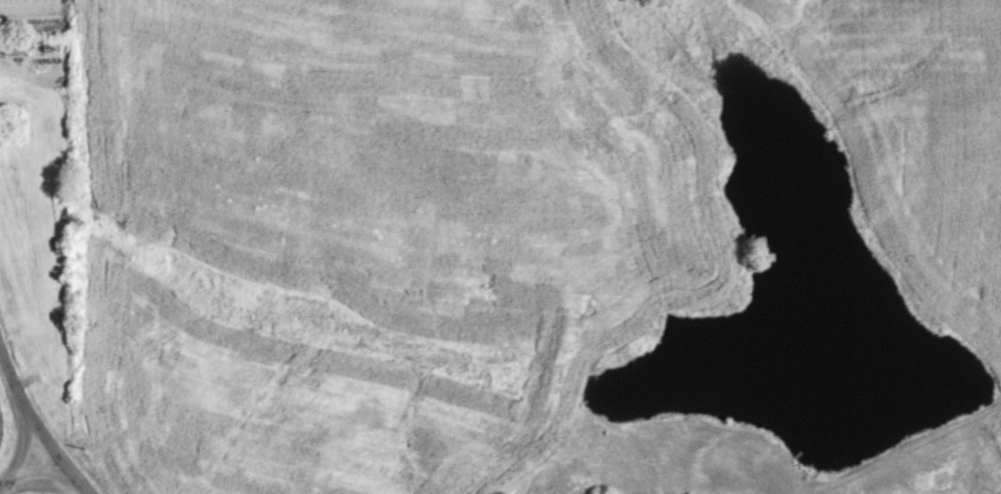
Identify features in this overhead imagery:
building: (15, 45)
road: (39, 422)
road: (30, 447)
road: (33, 468)

